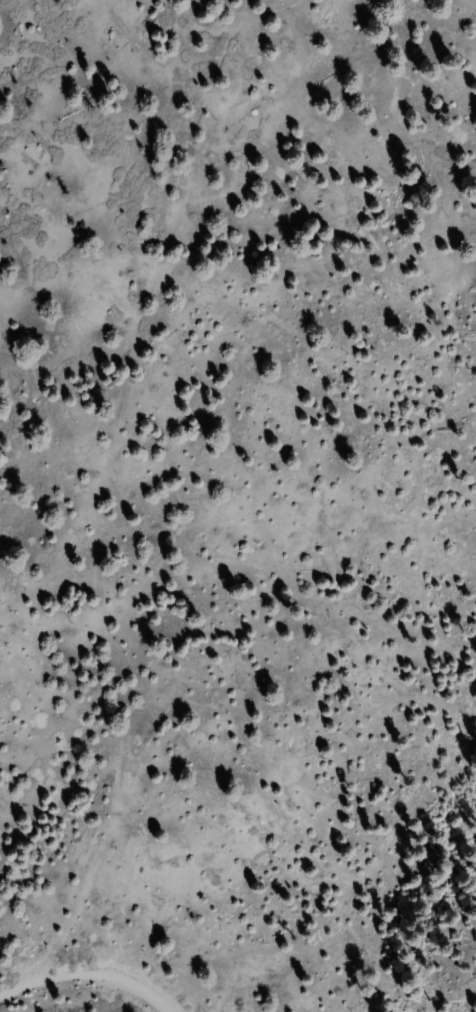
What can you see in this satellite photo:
road: (93, 974)

